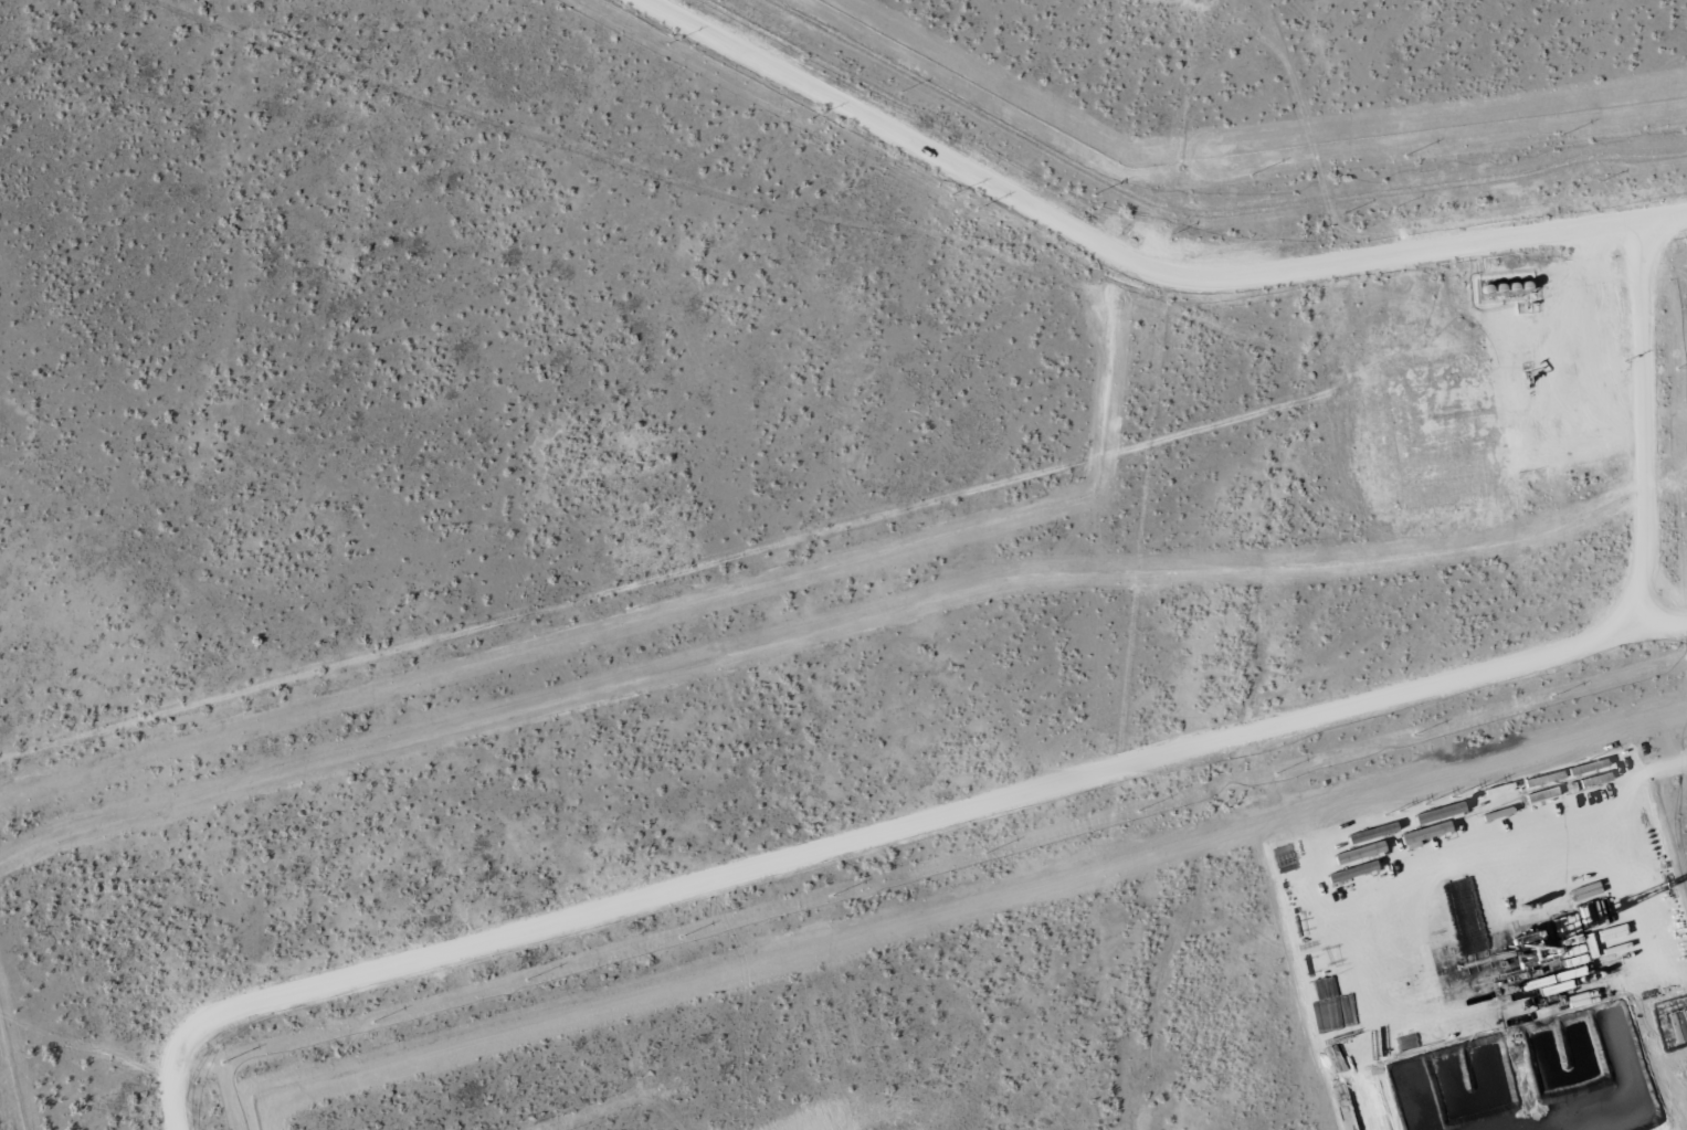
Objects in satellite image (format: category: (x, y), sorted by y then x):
road: (672, 181)
road: (588, 613)

